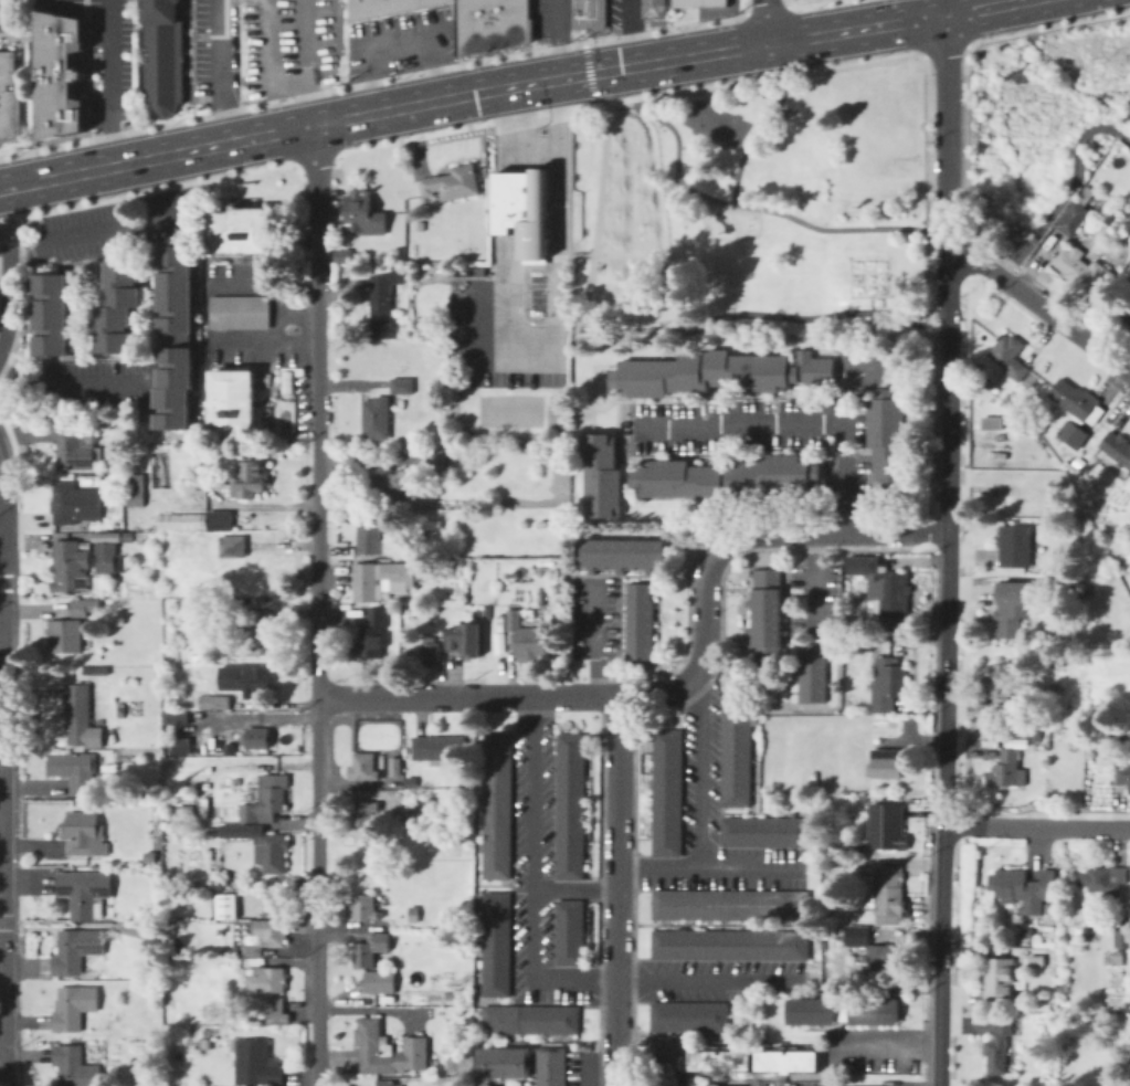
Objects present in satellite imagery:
road: (786, 1)
road: (54, 2)
road: (811, 3)
building: (694, 4)
road: (746, 6)
road: (959, 6)
road: (982, 6)
road: (764, 7)
building: (384, 8)
road: (917, 9)
building: (651, 10)
building: (587, 13)
road: (764, 21)
road: (873, 24)
building: (488, 25)
road: (1047, 25)
road: (627, 32)
road: (400, 39)
road: (556, 39)
road: (941, 51)
building: (160, 55)
road: (267, 70)
road: (588, 71)
road: (221, 73)
building: (50, 78)
road: (370, 80)
road: (736, 81)
road: (109, 84)
building: (8, 95)
road: (398, 109)
park: (717, 123)
road: (508, 129)
road: (444, 131)
road: (753, 135)
road: (948, 135)
road: (314, 162)
road: (965, 166)
road: (633, 175)
building: (1102, 179)
road: (627, 180)
building: (453, 183)
road: (926, 186)
road: (146, 191)
road: (1071, 192)
road: (507, 202)
building: (521, 209)
road: (768, 210)
building: (1076, 213)
building: (363, 215)
park: (729, 218)
park: (634, 220)
building: (421, 225)
road: (99, 229)
building: (237, 230)
road: (8, 231)
road: (650, 236)
road: (571, 252)
road: (970, 252)
building: (344, 256)
building: (1083, 270)
building: (482, 272)
road: (614, 281)
road: (947, 286)
road: (268, 288)
building: (1118, 291)
parking lot: (537, 293)
road: (555, 295)
road: (9, 303)
building: (118, 304)
building: (384, 304)
road: (1042, 307)
building: (239, 310)
building: (50, 313)
parking lot: (454, 319)
building: (1128, 320)
road: (274, 326)
road: (638, 328)
building: (175, 335)
road: (930, 337)
road: (263, 339)
building: (1010, 357)
building: (718, 372)
building: (285, 380)
road: (71, 383)
building: (402, 386)
building: (1041, 393)
building: (232, 402)
building: (1076, 412)
building: (377, 419)
road: (792, 421)
building: (994, 423)
building: (1021, 423)
road: (11, 436)
building: (889, 441)
building: (76, 450)
building: (1115, 450)
building: (440, 457)
building: (116, 467)
building: (1129, 473)
road: (3, 474)
building: (602, 476)
building: (727, 477)
building: (210, 479)
building: (250, 481)
building: (390, 484)
building: (134, 489)
building: (1015, 493)
building: (461, 497)
building: (76, 504)
building: (1033, 508)
building: (1100, 509)
building: (220, 520)
building: (180, 521)
building: (434, 525)
building: (371, 536)
road: (2, 537)
building: (130, 537)
building: (1015, 541)
building: (233, 547)
road: (716, 547)
road: (2, 551)
building: (622, 555)
road: (6, 556)
building: (110, 558)
building: (71, 567)
building: (262, 571)
building: (405, 572)
building: (367, 581)
road: (815, 584)
building: (883, 586)
building: (1079, 590)
building: (539, 597)
road: (317, 605)
building: (85, 607)
building: (1012, 607)
building: (768, 613)
building: (641, 621)
road: (2, 623)
building: (258, 635)
building: (373, 635)
building: (66, 636)
road: (595, 636)
building: (463, 637)
building: (528, 639)
building: (498, 641)
building: (426, 649)
building: (94, 671)
road: (947, 672)
building: (813, 673)
building: (244, 679)
road: (961, 681)
building: (888, 685)
building: (1003, 687)
road: (456, 696)
building: (215, 703)
building: (81, 717)
building: (175, 717)
building: (1121, 731)
building: (258, 739)
building: (985, 739)
building: (178, 746)
building: (439, 748)
building: (737, 751)
building: (984, 752)
building: (887, 763)
road: (2, 767)
building: (394, 767)
building: (366, 768)
building: (75, 770)
building: (1008, 770)
road: (698, 773)
building: (1123, 774)
building: (410, 781)
building: (668, 792)
building: (267, 799)
building: (495, 804)
building: (569, 804)
building: (203, 806)
building: (424, 809)
building: (365, 814)
building: (890, 823)
road: (1036, 826)
building: (765, 833)
building: (85, 834)
building: (265, 846)
road: (7, 854)
building: (150, 856)
road: (708, 866)
building: (460, 875)
road: (530, 879)
building: (1106, 883)
building: (1023, 889)
road: (574, 890)
road: (617, 890)
building: (886, 892)
building: (86, 893)
building: (226, 906)
building: (731, 906)
building: (365, 907)
building: (414, 914)
building: (397, 920)
building: (569, 931)
building: (1123, 931)
road: (3, 932)
building: (1027, 932)
building: (266, 937)
building: (494, 945)
building: (731, 946)
building: (468, 948)
building: (77, 949)
building: (371, 950)
building: (873, 957)
building: (1116, 960)
building: (1037, 961)
road: (709, 980)
building: (268, 981)
building: (1000, 981)
building: (381, 982)
building: (74, 1008)
building: (277, 1011)
building: (810, 1011)
building: (872, 1011)
building: (528, 1018)
building: (690, 1018)
building: (154, 1041)
road: (885, 1042)
building: (999, 1047)
building: (387, 1050)
building: (718, 1058)
building: (785, 1058)
building: (503, 1061)
building: (256, 1064)
road: (590, 1064)
building: (75, 1066)
building: (549, 1066)
building: (665, 1067)
building: (386, 1083)
building: (711, 1084)
building: (486, 1085)
building: (1121, 1085)

